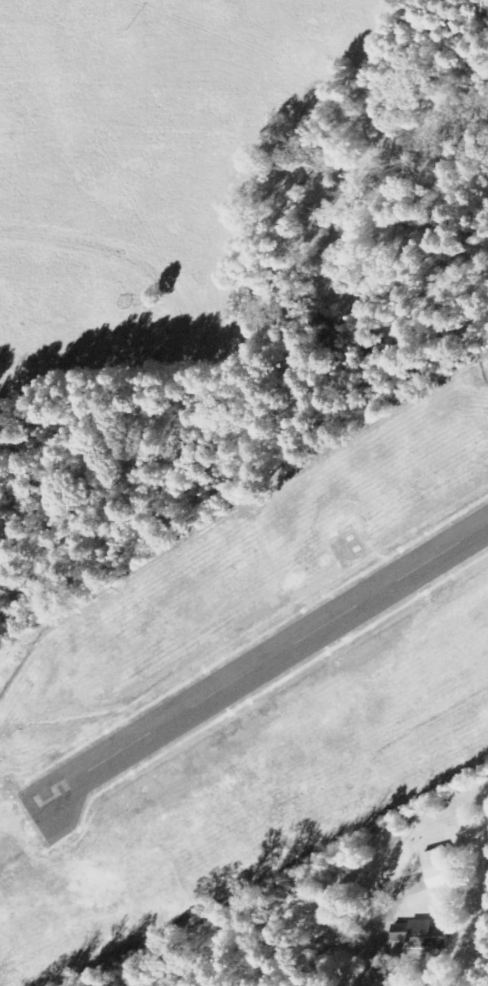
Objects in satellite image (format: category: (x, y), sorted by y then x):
airport runway: (258, 667)
airport: (250, 693)
building: (438, 867)

